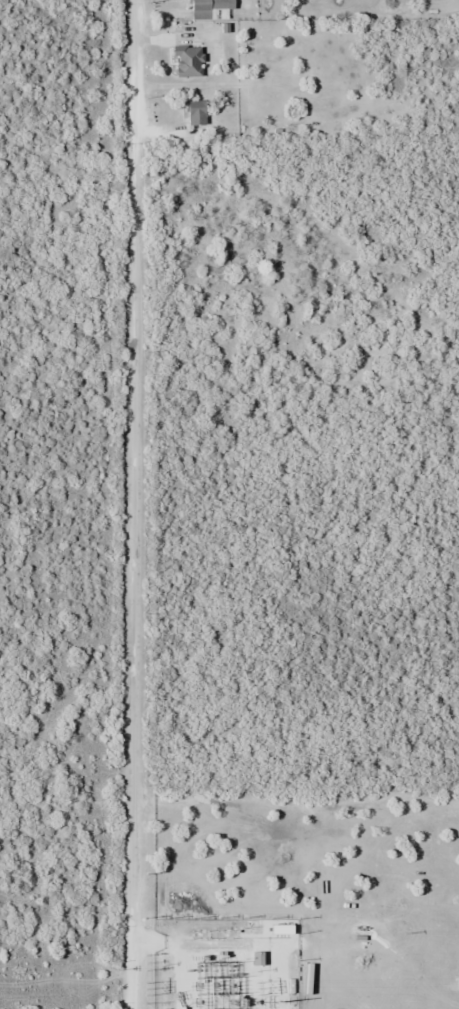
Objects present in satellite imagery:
building: (206, 9)
building: (185, 60)
road: (133, 69)
building: (194, 112)
road: (132, 574)
power substation: (226, 964)
power tower: (145, 989)
power tower: (256, 1001)

